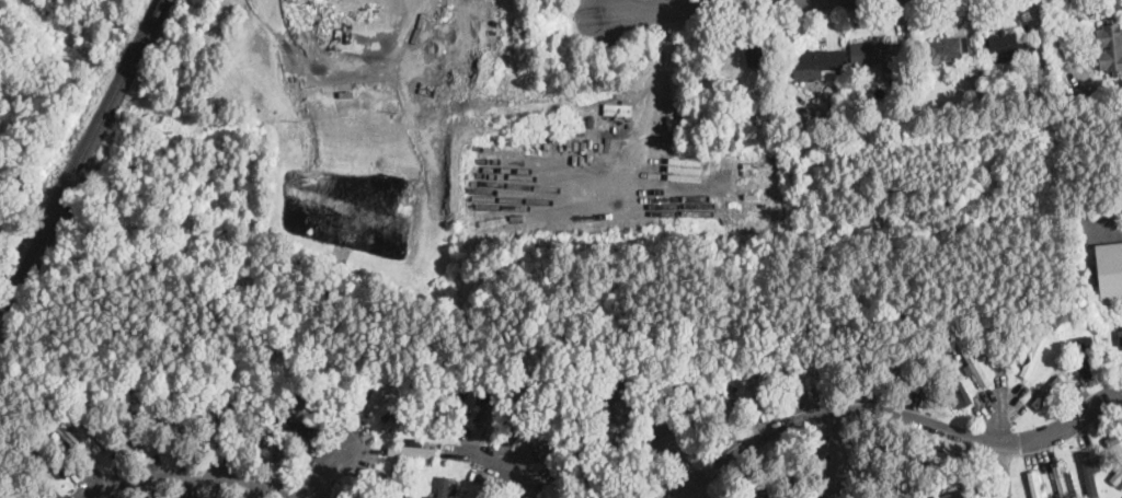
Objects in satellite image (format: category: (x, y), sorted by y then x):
road: (672, 2)
road: (667, 4)
building: (1008, 47)
building: (1111, 47)
building: (948, 49)
building: (879, 54)
building: (759, 55)
building: (818, 63)
building: (958, 73)
road: (659, 74)
building: (346, 92)
building: (1032, 97)
building: (840, 101)
building: (794, 105)
building: (808, 108)
building: (804, 120)
building: (757, 123)
railway: (81, 157)
road: (1112, 231)
building: (1087, 236)
building: (1108, 270)
building: (1100, 316)
building: (1120, 337)
building: (995, 349)
building: (1084, 352)
building: (1033, 355)
building: (1062, 356)
building: (850, 362)
building: (1066, 362)
building: (975, 364)
building: (714, 368)
building: (795, 369)
building: (827, 372)
building: (925, 373)
building: (888, 377)
building: (523, 378)
building: (760, 381)
building: (623, 384)
building: (678, 384)
building: (960, 387)
building: (1047, 392)
building: (375, 395)
building: (457, 402)
building: (608, 403)
building: (729, 403)
building: (489, 404)
building: (522, 405)
building: (400, 412)
road: (893, 413)
road: (997, 414)
building: (547, 418)
building: (211, 422)
building: (242, 422)
building: (701, 422)
building: (287, 425)
building: (134, 431)
building: (162, 432)
building: (100, 433)
building: (1113, 438)
building: (573, 441)
building: (75, 442)
road: (671, 448)
building: (279, 450)
building: (413, 451)
building: (892, 451)
road: (829, 453)
building: (620, 455)
building: (950, 458)
building: (581, 459)
building: (787, 459)
building: (48, 461)
road: (506, 463)
road: (333, 468)
road: (999, 470)
building: (1088, 474)
road: (182, 476)
building: (801, 476)
building: (1117, 476)
building: (26, 477)
building: (648, 482)
building: (1061, 483)
building: (568, 484)
building: (1034, 484)
building: (392, 485)
building: (888, 485)
building: (360, 487)
building: (444, 487)
building: (757, 488)
road: (695, 490)
building: (355, 495)
building: (479, 495)
building: (724, 495)
building: (954, 495)
building: (598, 496)

